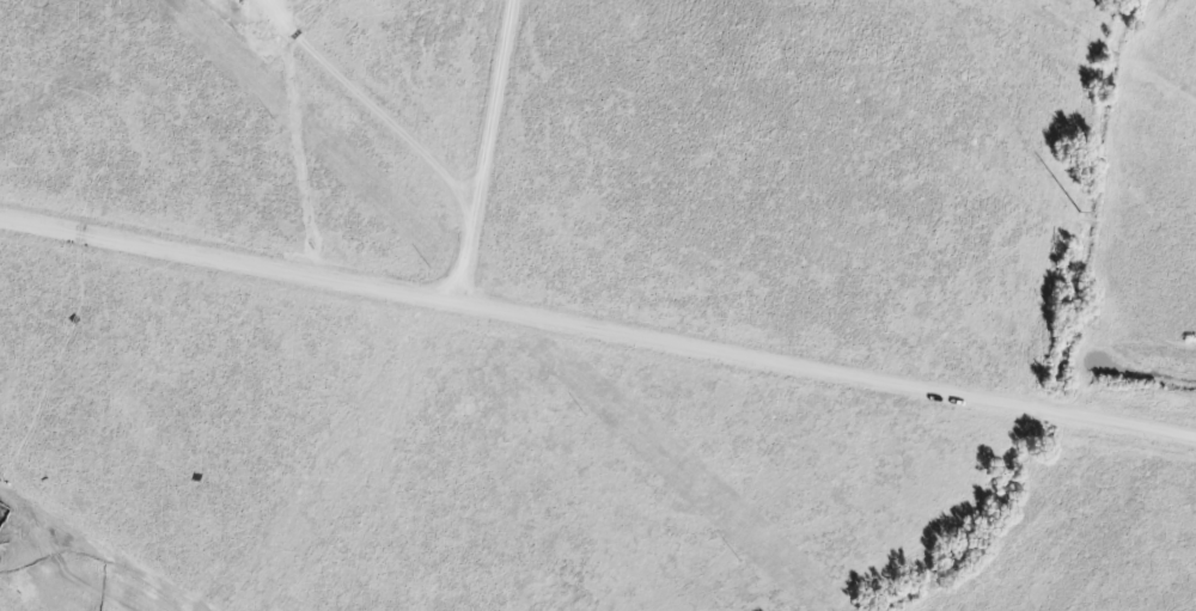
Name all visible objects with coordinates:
road: (483, 148)
road: (597, 325)

